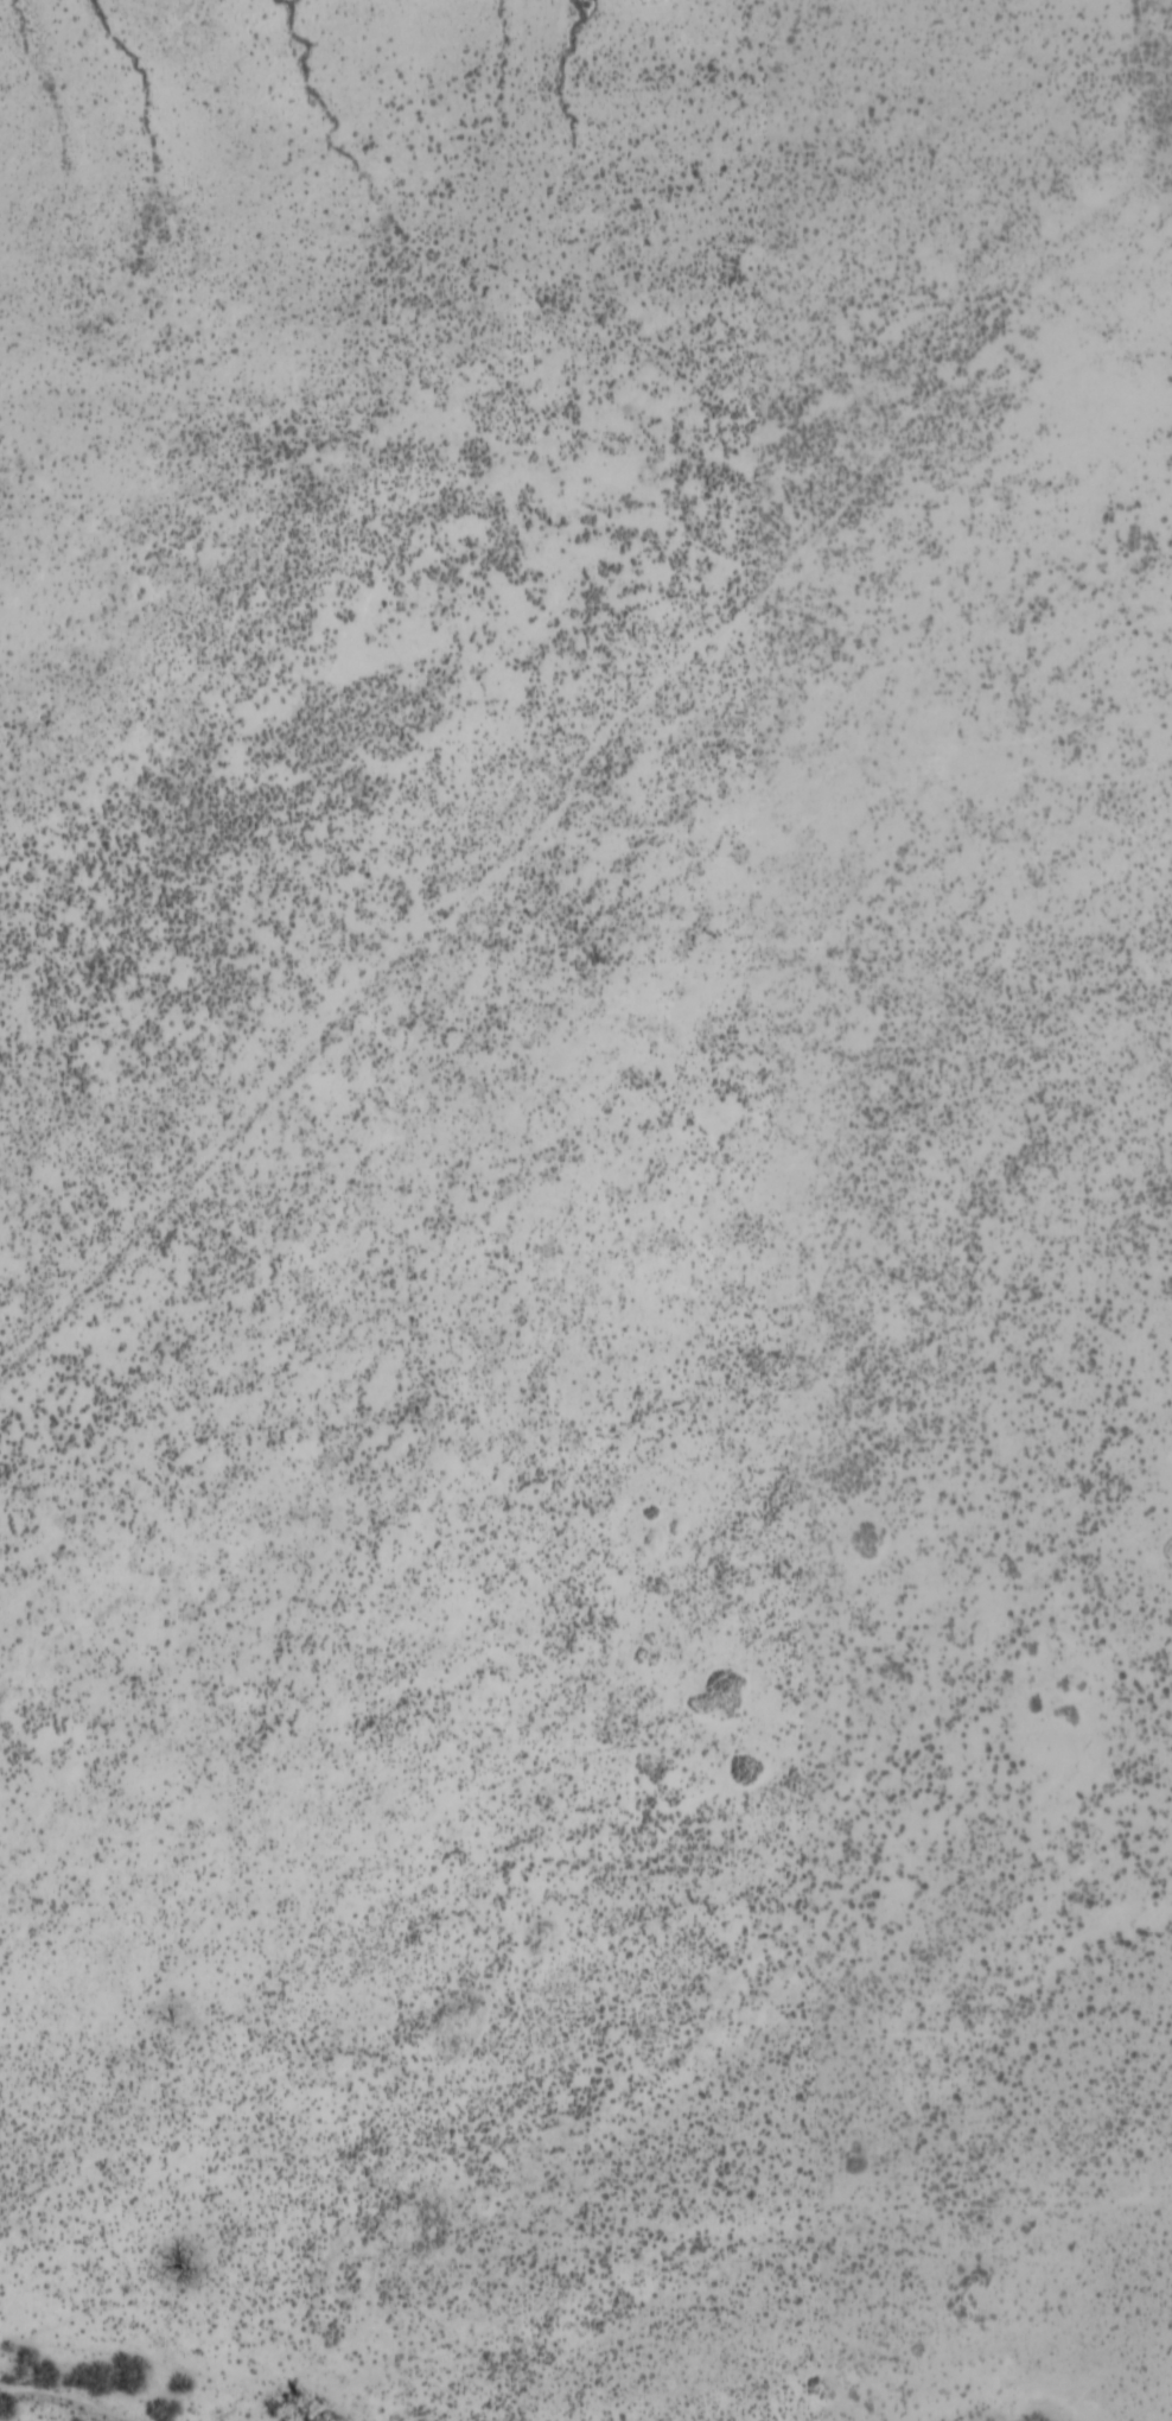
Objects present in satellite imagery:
river: (145, 2397)

